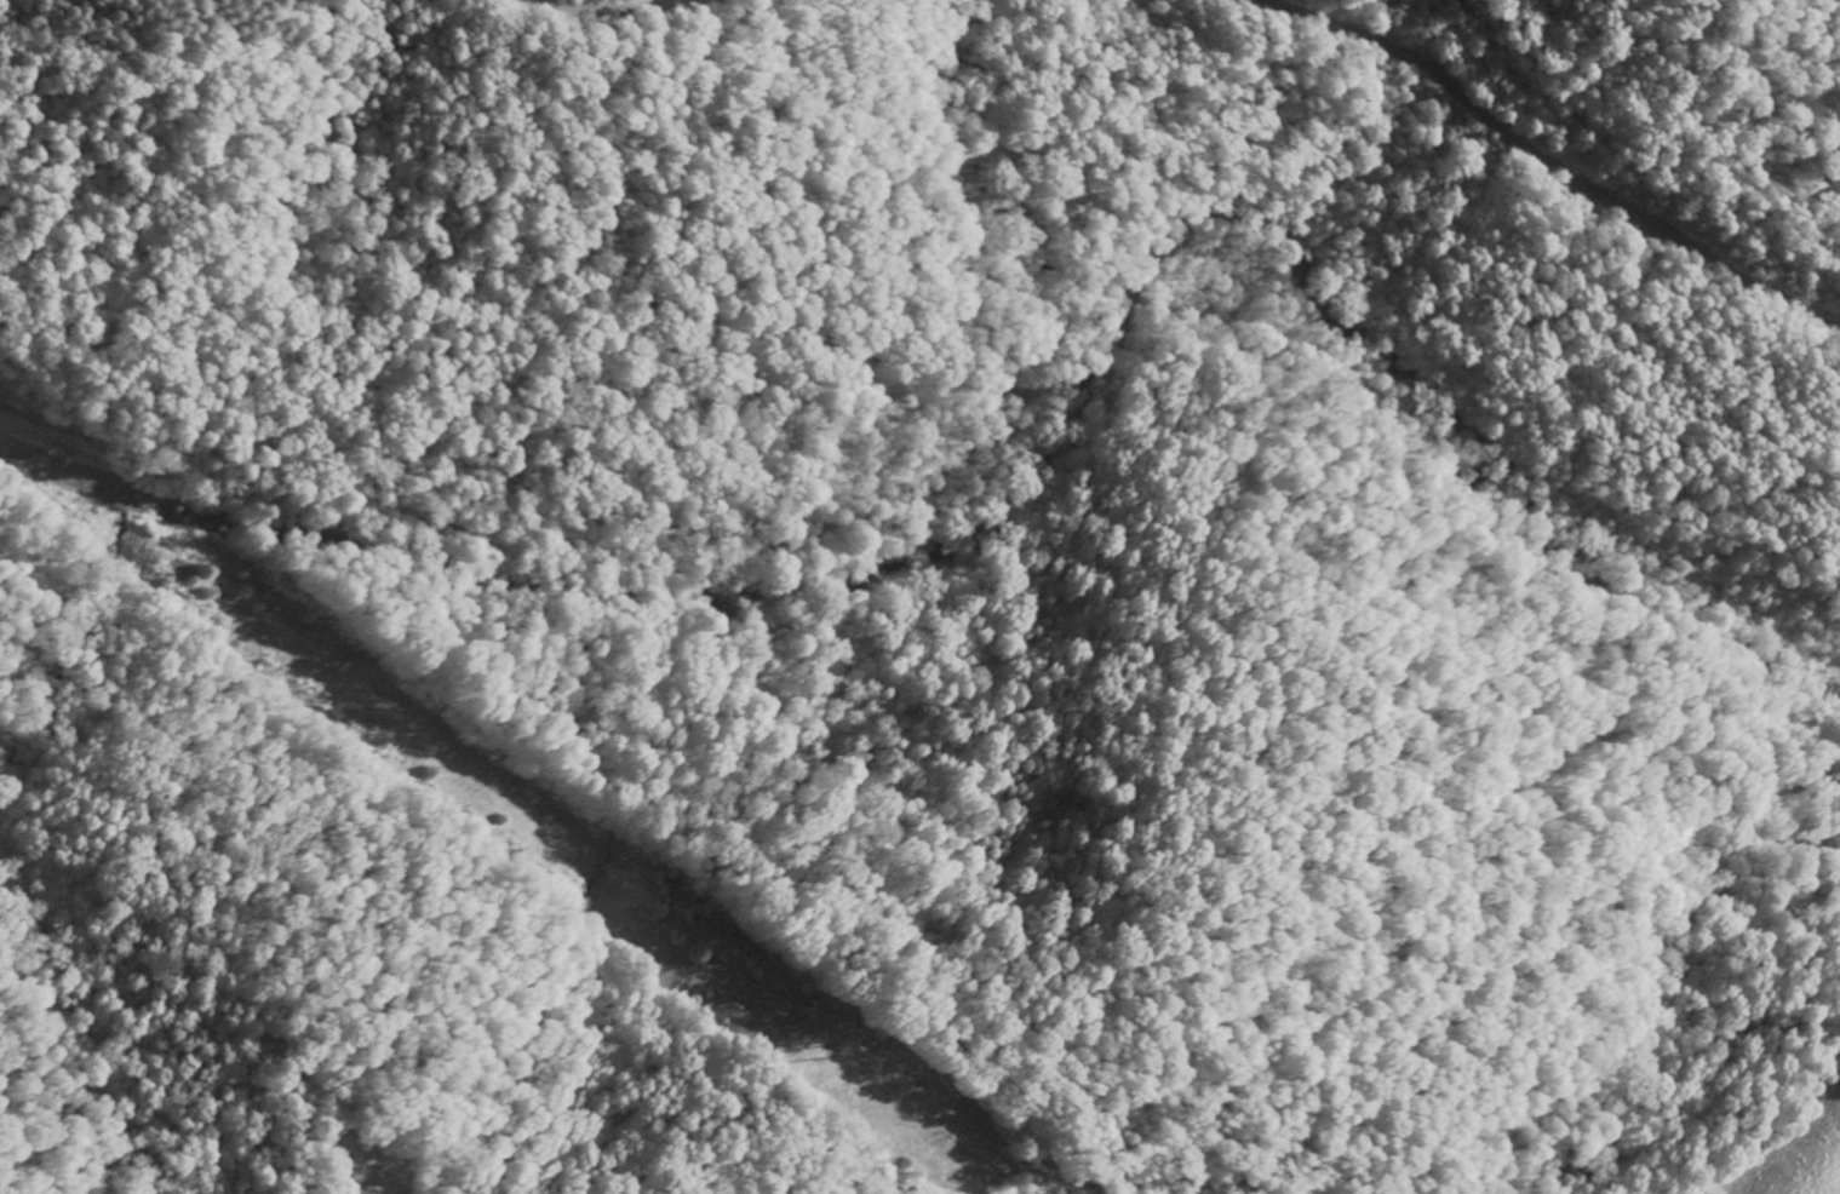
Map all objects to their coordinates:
road: (601, 0)
road: (1554, 161)
power tower: (824, 1044)

